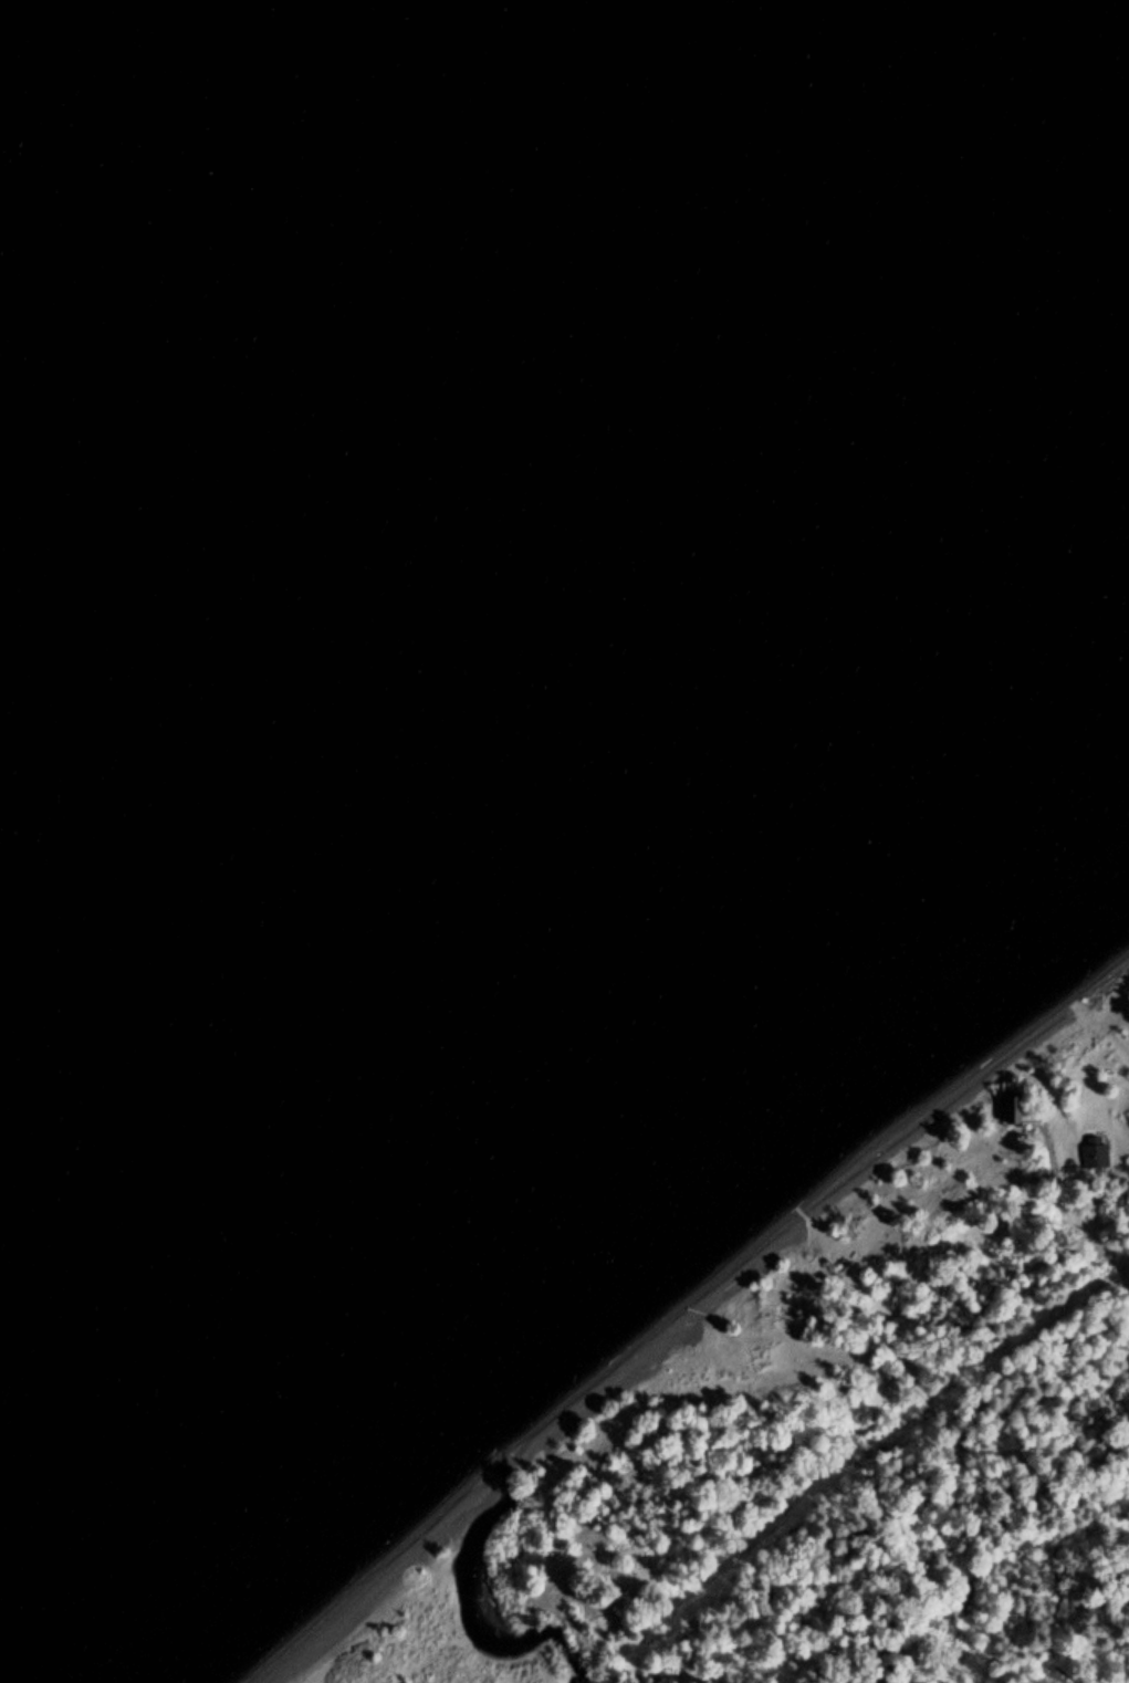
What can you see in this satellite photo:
road: (866, 1446)

